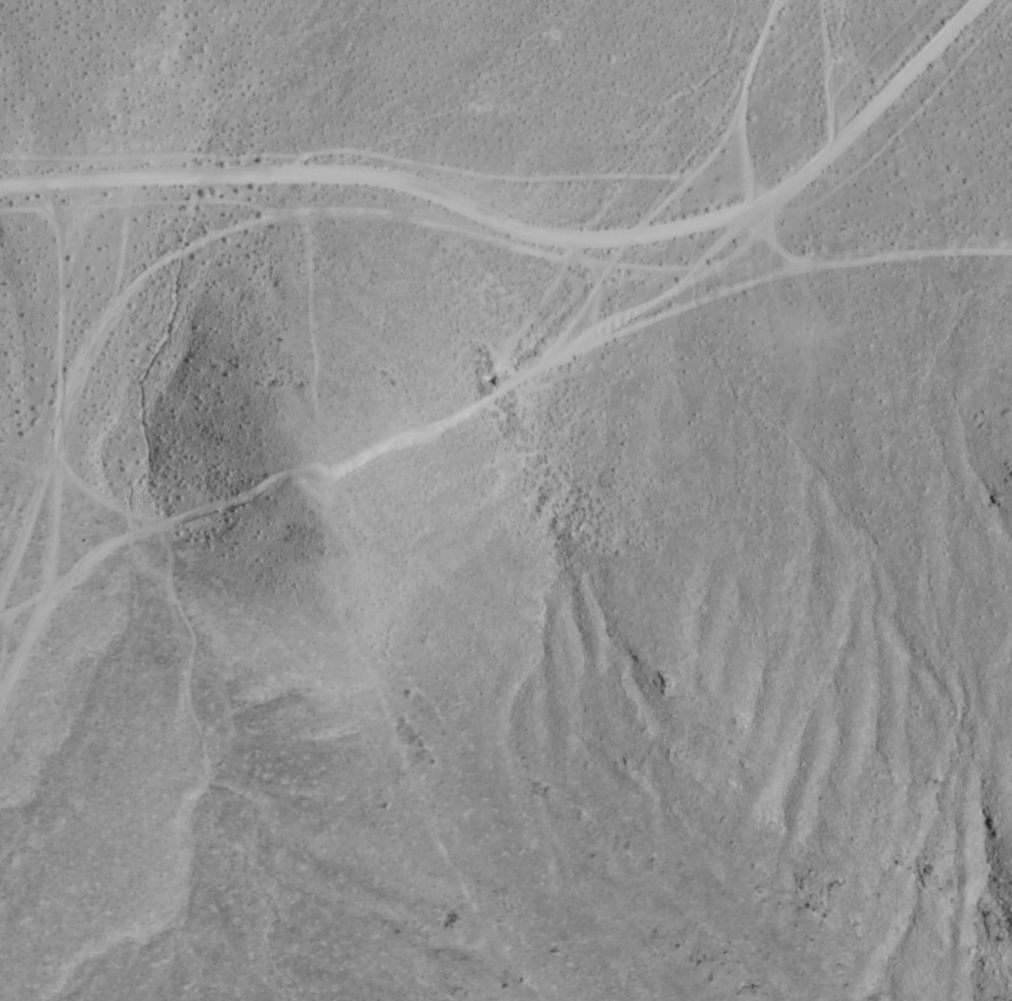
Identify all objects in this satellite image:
road: (524, 185)
road: (728, 246)
road: (53, 431)

